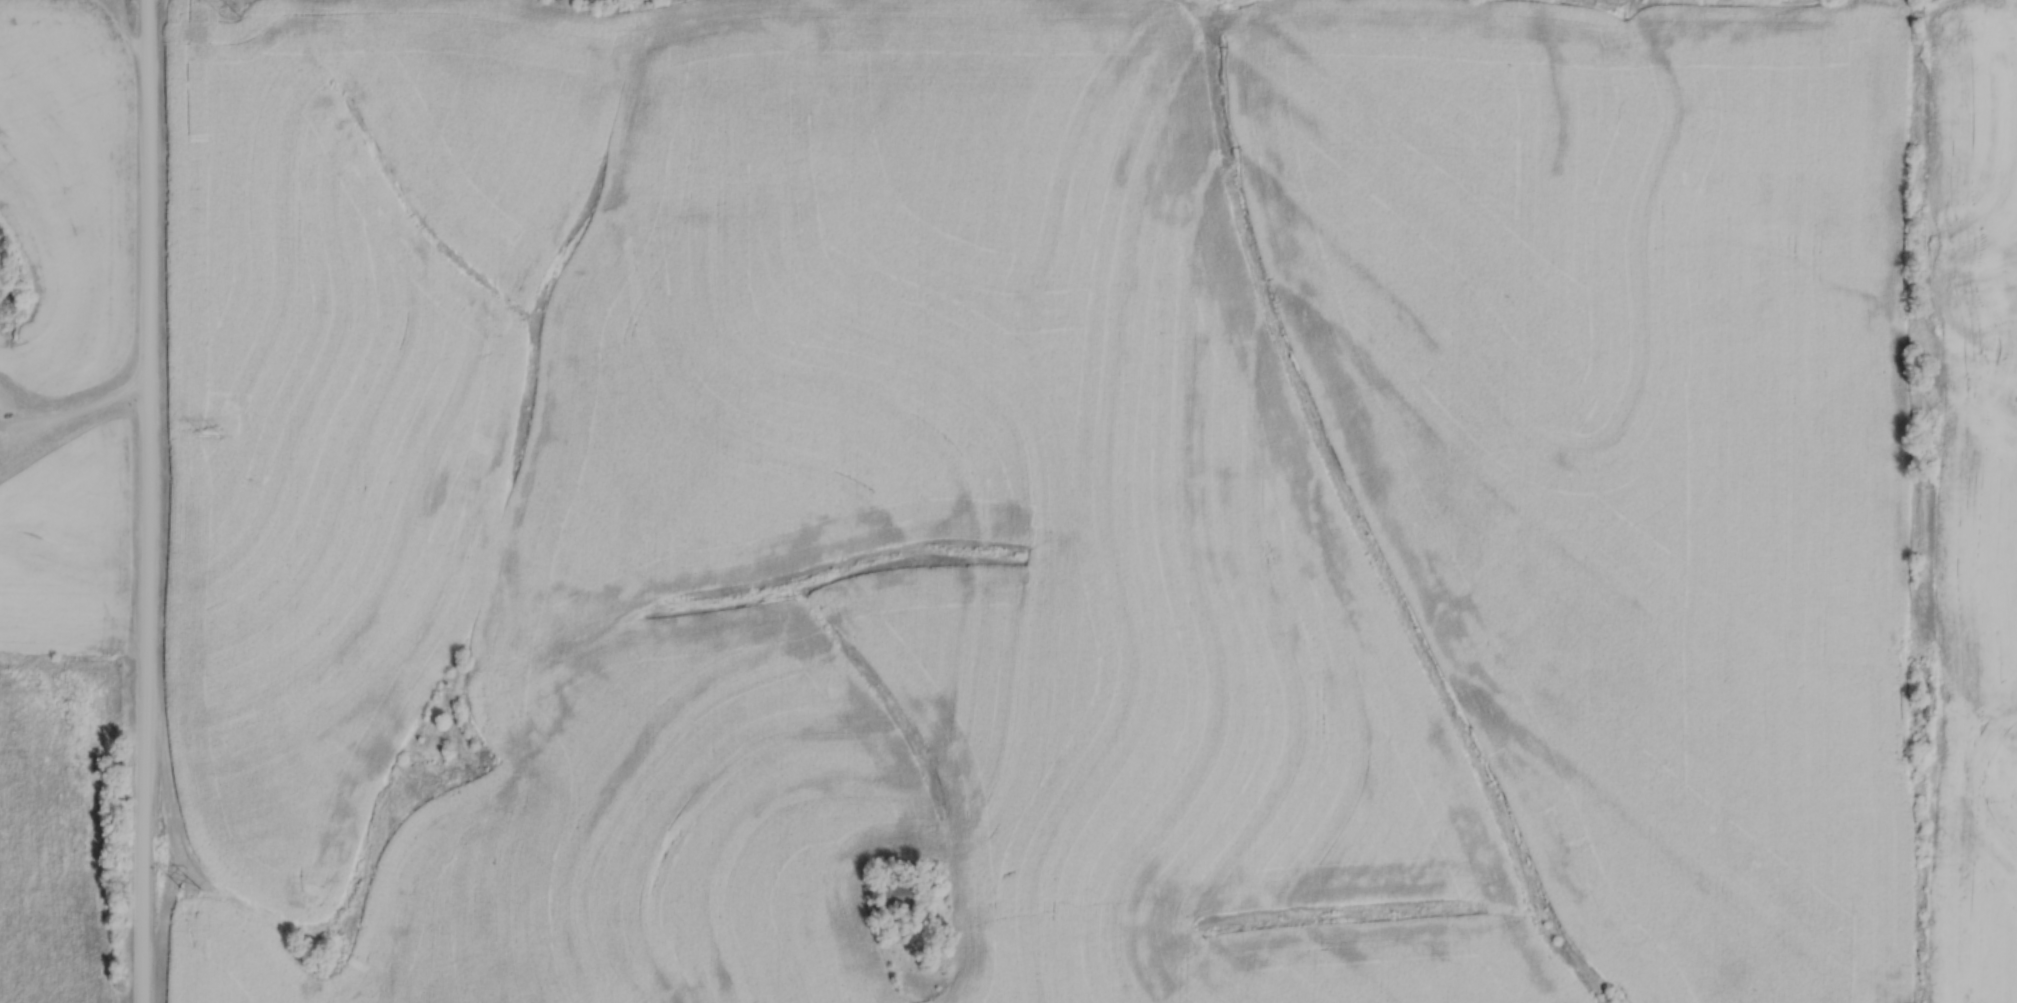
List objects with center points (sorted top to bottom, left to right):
road: (76, 411)
power tower: (222, 435)
road: (149, 501)
power tower: (202, 894)
building: (897, 895)

